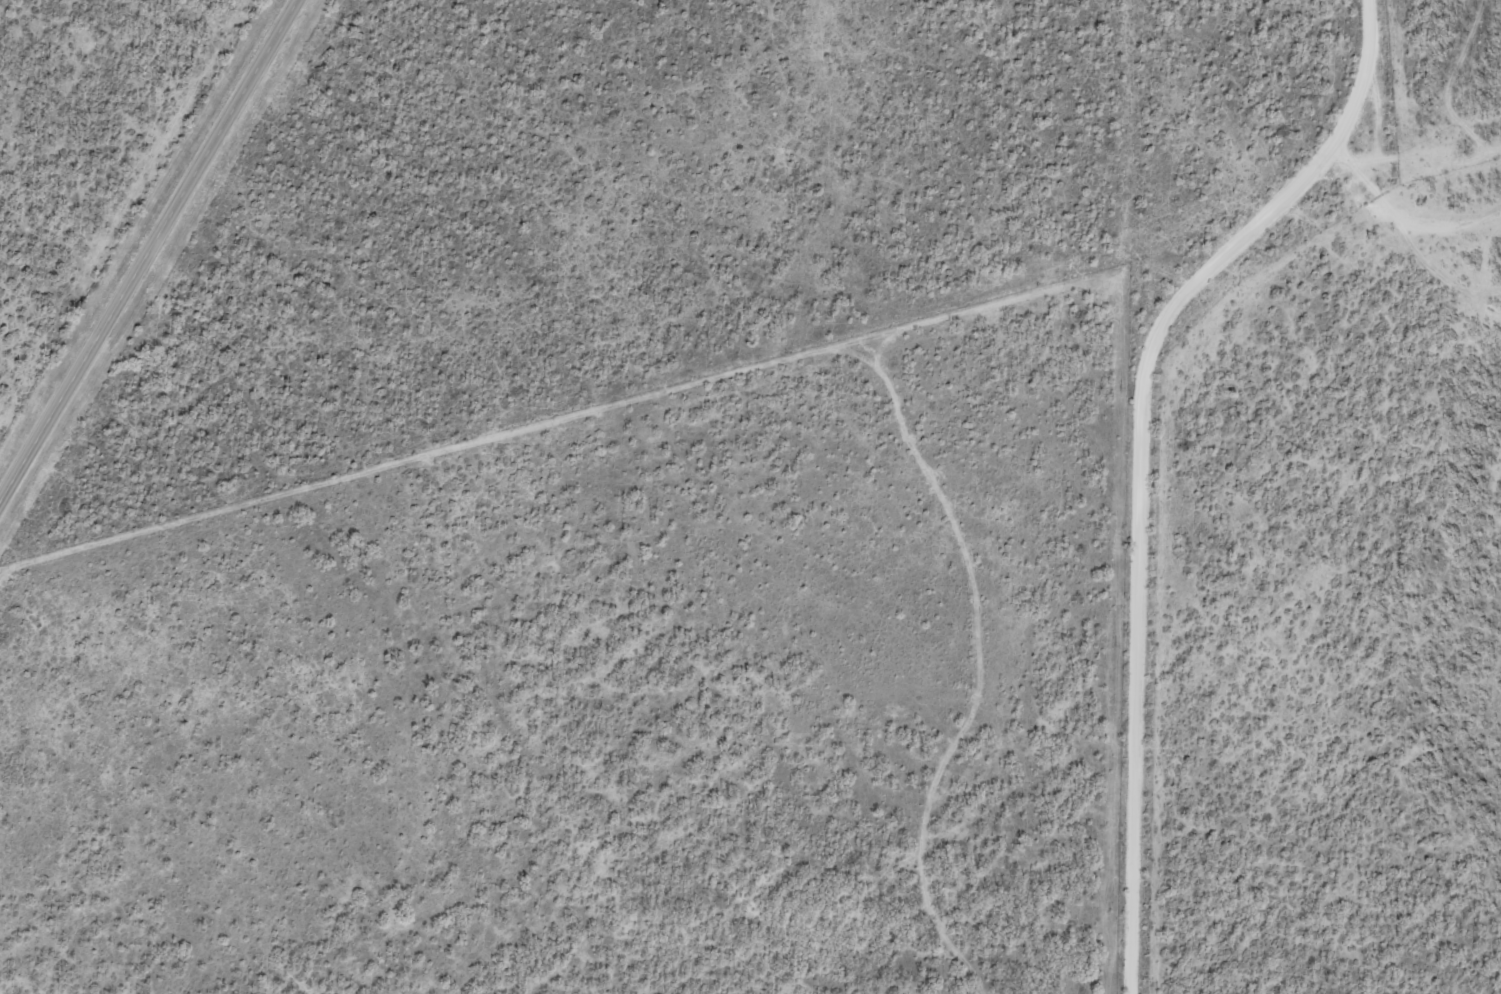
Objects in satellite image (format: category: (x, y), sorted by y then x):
road: (150, 253)
road: (1143, 457)

